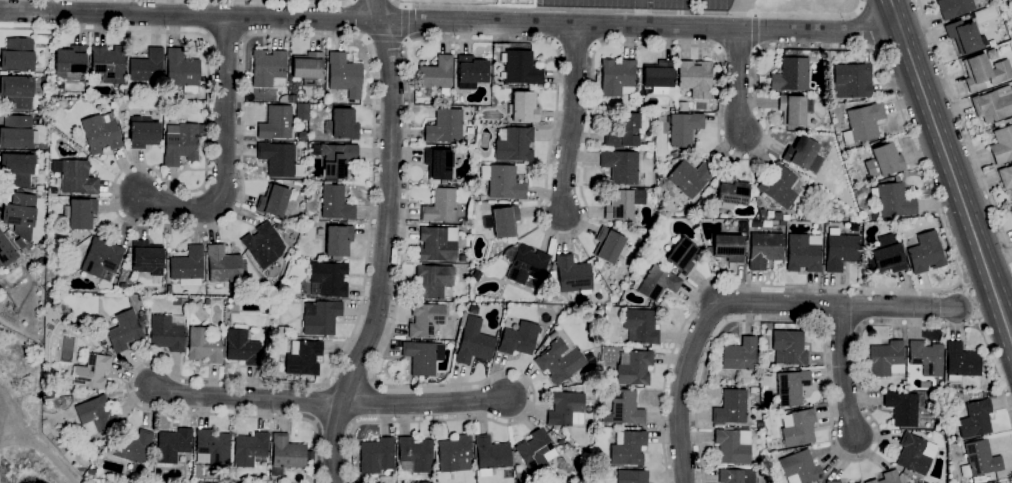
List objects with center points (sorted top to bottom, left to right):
road: (303, 1)
building: (1011, 1)
park: (463, 4)
building: (953, 7)
road: (377, 10)
road: (630, 11)
road: (190, 17)
road: (404, 23)
road: (641, 29)
road: (755, 31)
road: (322, 37)
building: (962, 37)
road: (384, 40)
building: (17, 55)
building: (70, 62)
building: (107, 64)
building: (146, 66)
building: (307, 68)
building: (519, 68)
building: (268, 69)
building: (181, 71)
building: (470, 71)
building: (983, 73)
building: (344, 75)
building: (789, 75)
building: (435, 76)
building: (657, 76)
building: (616, 77)
building: (693, 80)
building: (851, 82)
road: (737, 83)
building: (16, 92)
building: (993, 104)
building: (314, 107)
building: (522, 107)
building: (793, 109)
building: (301, 111)
road: (590, 111)
building: (1001, 122)
building: (275, 123)
road: (572, 123)
building: (862, 123)
building: (343, 125)
building: (443, 127)
building: (683, 128)
road: (964, 129)
building: (624, 130)
building: (15, 133)
building: (101, 134)
building: (142, 135)
building: (513, 144)
building: (180, 145)
building: (1001, 145)
road: (224, 148)
building: (802, 155)
building: (276, 158)
building: (334, 159)
building: (883, 162)
building: (437, 163)
building: (619, 166)
building: (16, 169)
road: (950, 170)
building: (77, 178)
building: (688, 178)
building: (1006, 178)
building: (501, 182)
building: (777, 186)
building: (731, 191)
building: (892, 200)
building: (272, 201)
building: (334, 202)
building: (617, 205)
building: (439, 206)
building: (1011, 209)
building: (19, 210)
building: (79, 213)
building: (504, 222)
building: (741, 227)
building: (279, 228)
building: (337, 241)
building: (437, 244)
building: (262, 245)
building: (607, 245)
building: (727, 248)
building: (763, 250)
building: (840, 250)
building: (6, 252)
building: (802, 253)
building: (924, 253)
road: (383, 255)
building: (681, 256)
building: (887, 257)
building: (49, 258)
building: (100, 258)
building: (146, 258)
building: (187, 265)
building: (222, 265)
building: (523, 265)
building: (60, 270)
building: (572, 275)
building: (327, 279)
building: (432, 282)
building: (655, 283)
building: (50, 286)
building: (122, 288)
building: (168, 288)
road: (972, 301)
building: (191, 303)
road: (742, 303)
building: (320, 318)
building: (424, 319)
building: (461, 319)
building: (639, 326)
building: (280, 331)
building: (124, 332)
building: (167, 333)
building: (518, 339)
building: (472, 343)
building: (203, 346)
building: (241, 348)
building: (788, 348)
building: (422, 357)
building: (740, 357)
building: (925, 357)
building: (302, 358)
building: (559, 358)
building: (885, 359)
building: (960, 362)
building: (632, 368)
building: (91, 372)
road: (843, 372)
building: (790, 387)
building: (48, 393)
road: (246, 399)
road: (425, 404)
building: (730, 407)
building: (901, 408)
building: (565, 409)
building: (623, 409)
building: (95, 416)
building: (975, 419)
road: (5, 428)
building: (474, 428)
building: (797, 428)
building: (172, 445)
building: (212, 446)
building: (732, 446)
road: (44, 448)
building: (133, 449)
building: (249, 449)
building: (627, 449)
building: (535, 451)
building: (454, 454)
building: (914, 454)
building: (285, 455)
building: (414, 455)
building: (491, 455)
road: (837, 455)
building: (375, 456)
building: (979, 459)
building: (799, 468)
building: (631, 476)
building: (735, 476)
building: (886, 478)
building: (832, 482)

